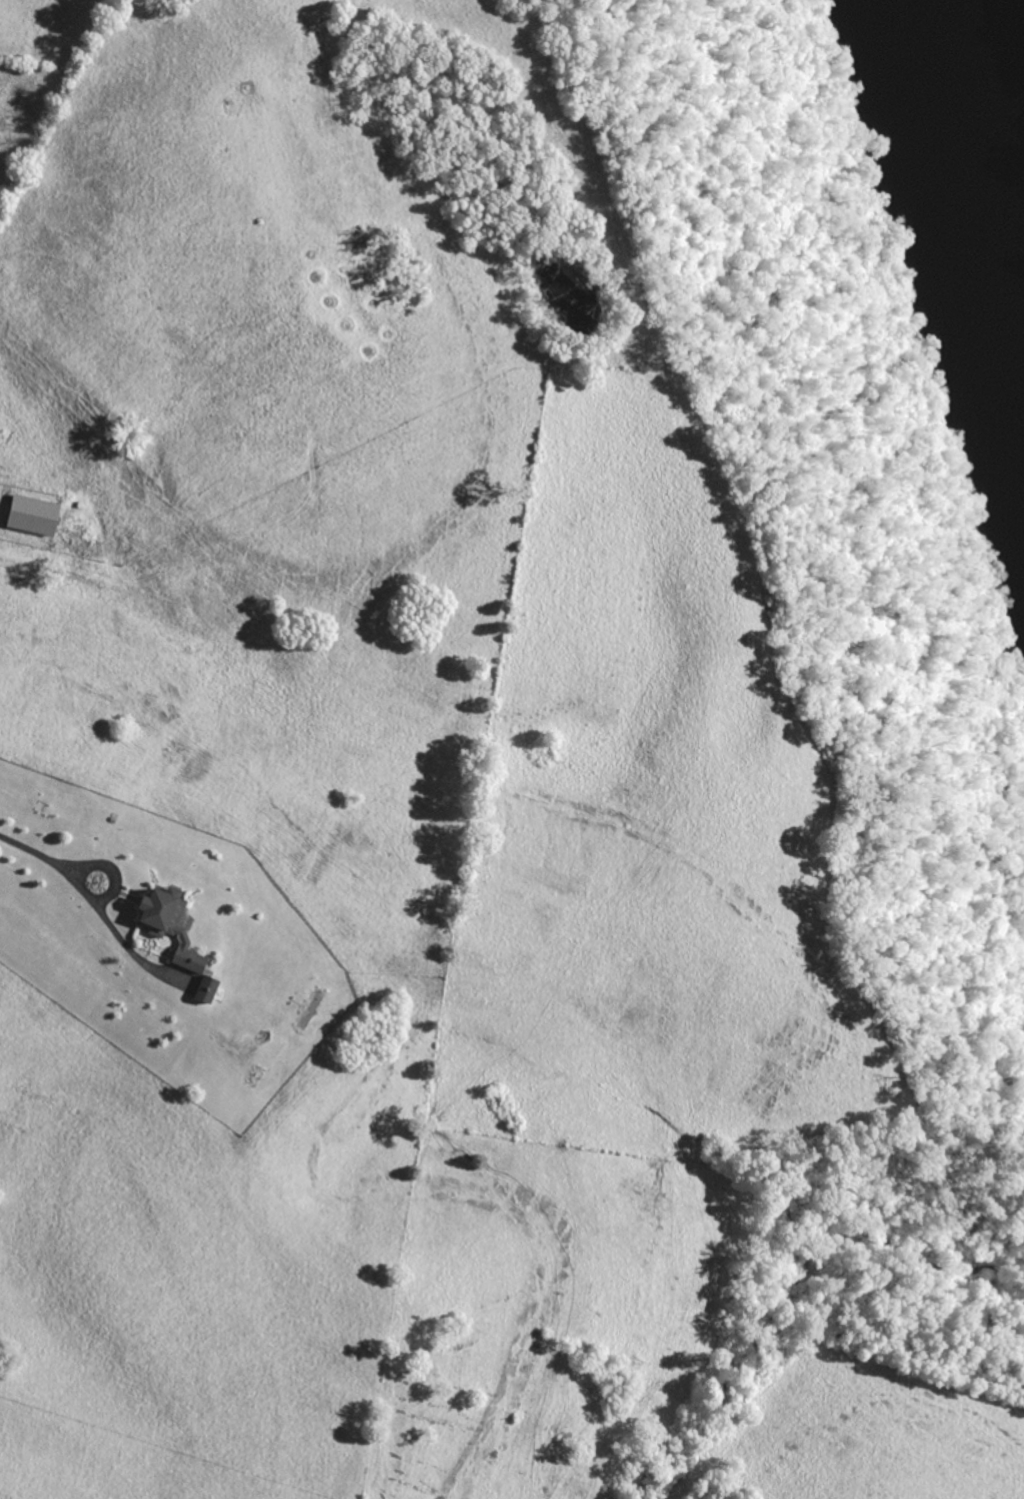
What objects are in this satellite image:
river: (988, 169)
building: (35, 516)
building: (172, 924)
building: (208, 989)

